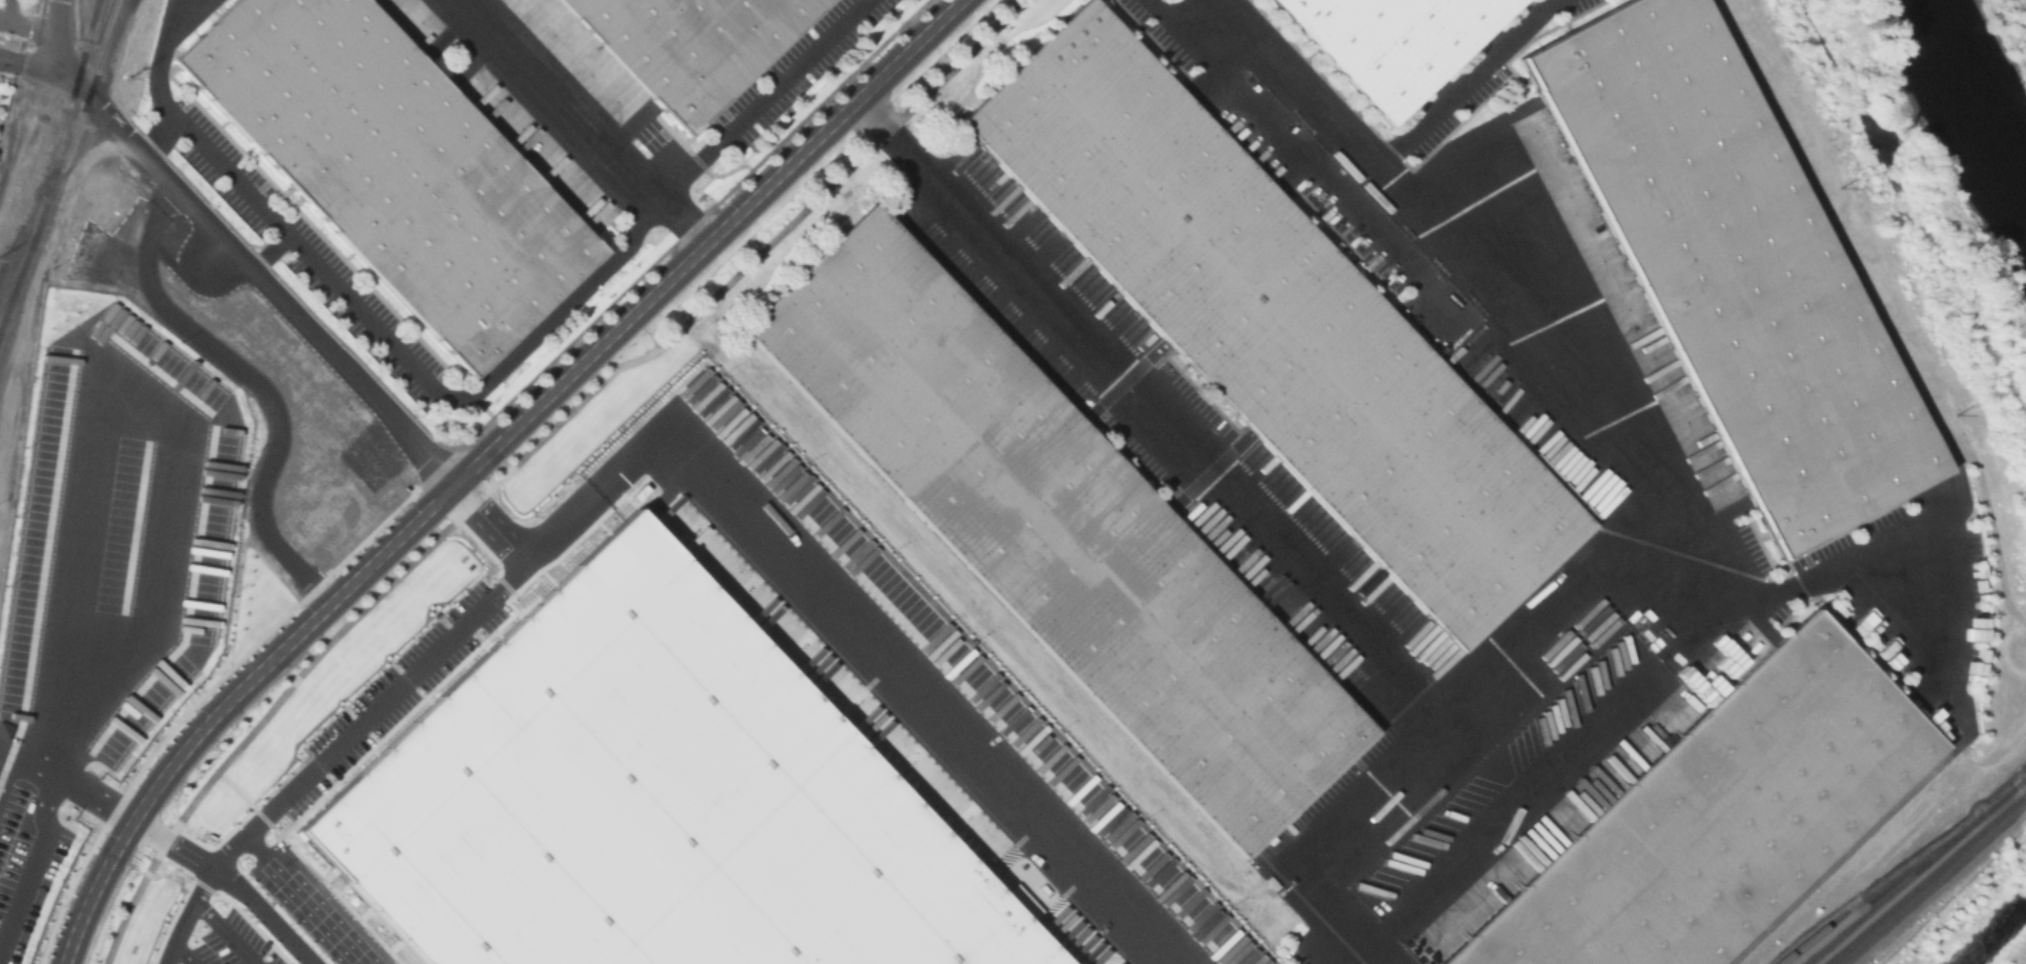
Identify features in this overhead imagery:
railway: (95, 6)
road: (14, 11)
railway: (91, 19)
road: (27, 25)
building: (1393, 42)
building: (685, 48)
road: (158, 54)
road: (38, 64)
road: (1304, 82)
road: (1468, 82)
railway: (19, 89)
road: (561, 97)
railway: (80, 111)
road: (739, 120)
road: (214, 156)
railway: (52, 158)
building: (388, 168)
railway: (50, 178)
road: (709, 243)
railway: (17, 246)
road: (233, 254)
road: (754, 260)
building: (1754, 269)
railway: (19, 272)
railway: (2, 319)
building: (1274, 320)
road: (259, 385)
road: (457, 399)
road: (692, 433)
road: (180, 437)
road: (456, 522)
road: (501, 530)
building: (1059, 530)
road: (1794, 582)
road: (1699, 630)
road: (1415, 699)
road: (228, 701)
road: (249, 735)
road: (1528, 799)
building: (650, 802)
road: (43, 813)
building: (1716, 815)
road: (1332, 848)
railway: (1916, 871)
railway: (1928, 879)
railway: (1879, 889)
road: (1954, 896)
road: (312, 903)
road: (197, 917)
road: (266, 919)
road: (229, 936)
road: (186, 960)

